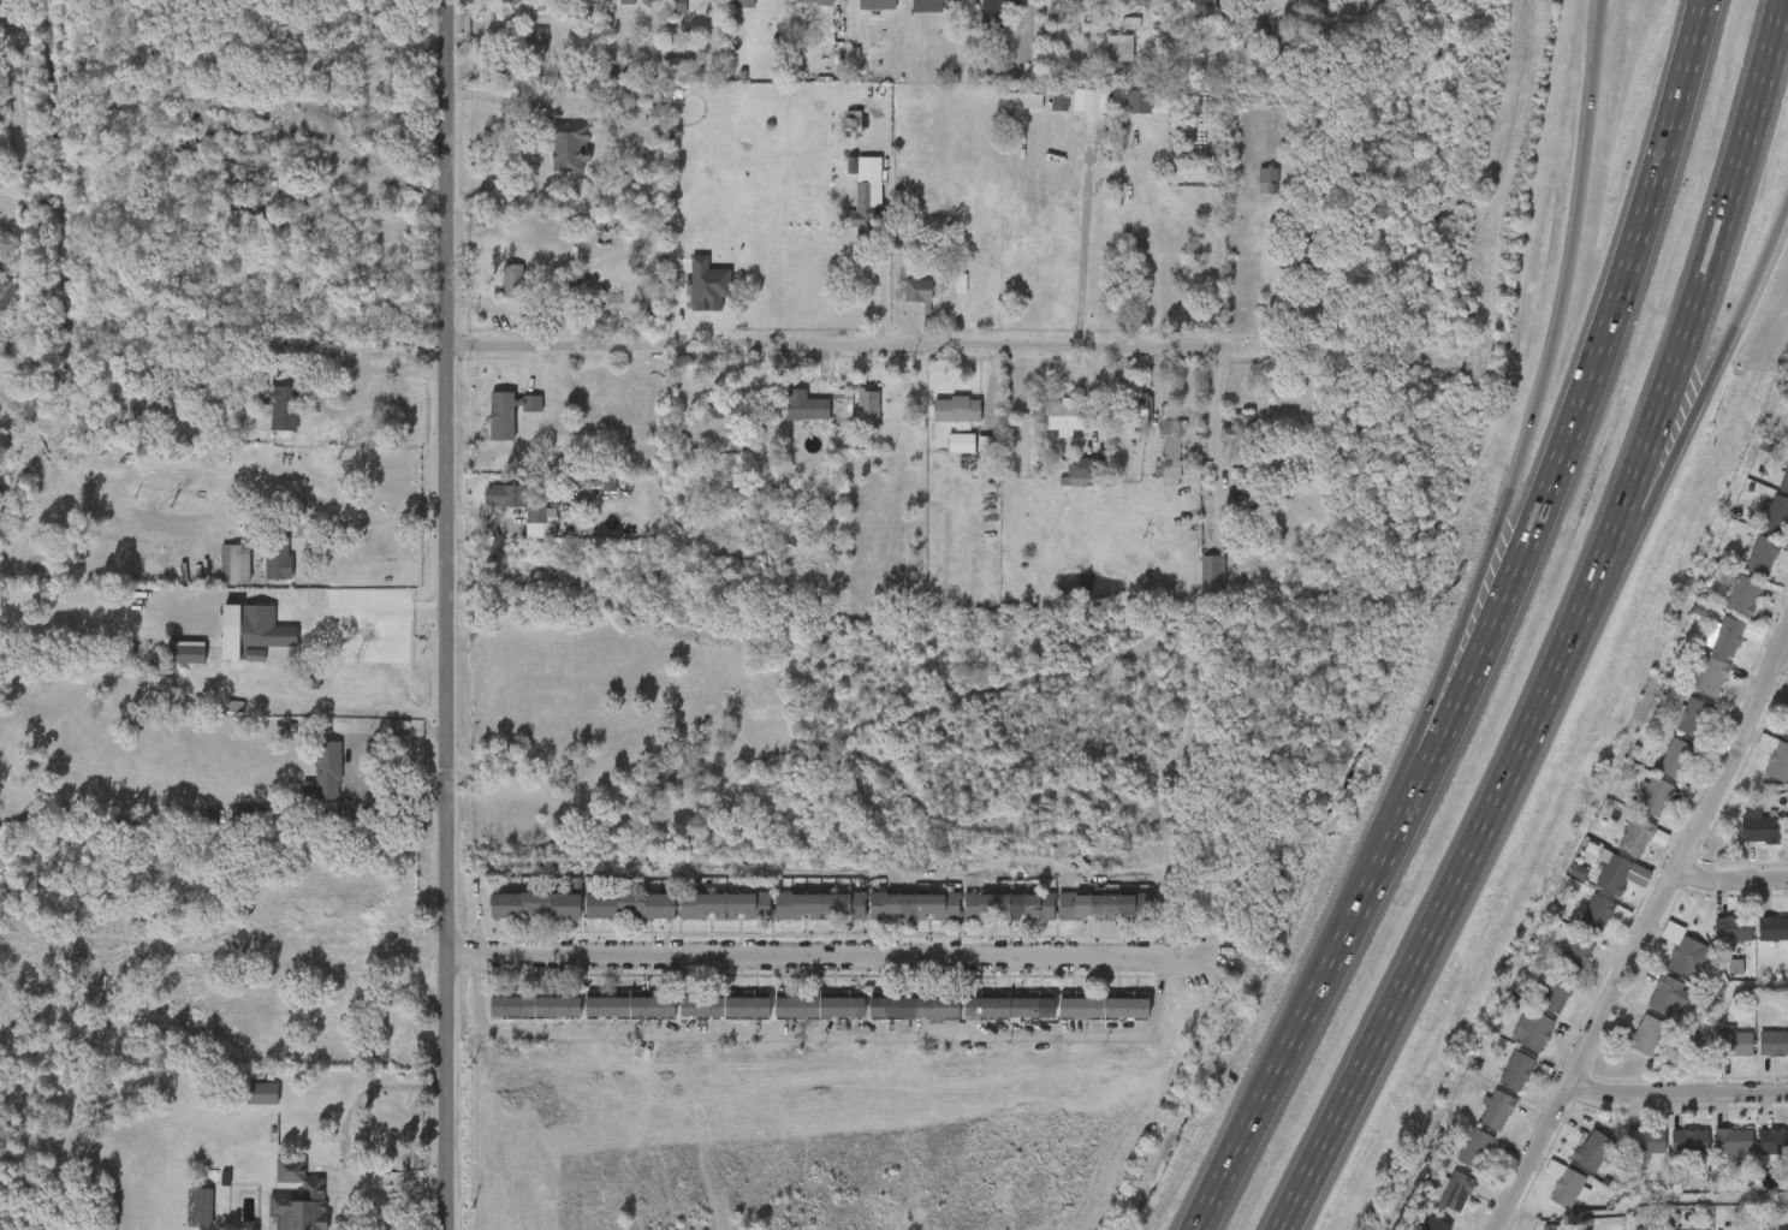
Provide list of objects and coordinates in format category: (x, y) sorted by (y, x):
building: (513, 0)
building: (808, 0)
building: (1067, 0)
building: (742, 2)
building: (1133, 2)
building: (677, 4)
building: (875, 4)
building: (928, 5)
building: (1171, 7)
building: (612, 8)
building: (1273, 8)
building: (1117, 10)
building: (992, 12)
building: (1055, 14)
building: (1118, 46)
building: (519, 52)
building: (504, 54)
building: (1103, 63)
building: (1148, 70)
building: (832, 115)
building: (1073, 115)
building: (1121, 117)
building: (570, 144)
building: (553, 162)
building: (1267, 179)
building: (1249, 196)
road: (883, 221)
building: (848, 226)
road: (1082, 246)
road: (1710, 252)
building: (1312, 255)
building: (512, 280)
road: (1275, 281)
building: (917, 290)
building: (494, 296)
building: (901, 308)
road: (1741, 308)
road: (1554, 331)
road: (881, 345)
road: (370, 369)
building: (278, 404)
building: (800, 405)
building: (1136, 406)
building: (868, 409)
building: (954, 409)
road: (1561, 415)
building: (1065, 416)
building: (721, 418)
building: (261, 420)
building: (786, 421)
building: (1125, 422)
building: (851, 424)
building: (940, 426)
building: (491, 428)
building: (1049, 432)
building: (703, 435)
building: (1238, 435)
building: (961, 442)
building: (1170, 452)
building: (1219, 452)
building: (1783, 452)
road: (1658, 457)
building: (944, 458)
building: (1152, 468)
road: (177, 469)
building: (1081, 471)
building: (1784, 481)
building: (1062, 482)
building: (505, 495)
building: (1062, 497)
building: (486, 511)
building: (1776, 516)
building: (1760, 530)
building: (522, 537)
building: (1762, 557)
building: (278, 558)
building: (234, 563)
building: (1744, 571)
building: (1211, 574)
building: (260, 577)
building: (218, 578)
building: (1192, 588)
building: (1742, 598)
building: (1724, 610)
road: (406, 611)
road: (410, 611)
road: (430, 611)
road: (446, 614)
building: (263, 628)
building: (230, 631)
building: (1727, 637)
building: (1710, 652)
road: (1782, 655)
building: (311, 678)
building: (1711, 678)
building: (350, 690)
building: (1693, 693)
building: (333, 708)
building: (1693, 718)
building: (1786, 730)
road: (1422, 732)
building: (1675, 732)
building: (1675, 759)
building: (1778, 762)
road: (352, 767)
building: (1657, 772)
building: (1763, 776)
building: (308, 788)
building: (1653, 797)
building: (1636, 812)
building: (1759, 827)
building: (1634, 837)
building: (1783, 840)
building: (1741, 843)
building: (1617, 851)
road: (1461, 869)
building: (1614, 875)
road: (1731, 880)
building: (1596, 890)
building: (533, 905)
building: (629, 905)
building: (725, 905)
building: (818, 905)
building: (914, 907)
building: (1009, 907)
building: (1103, 907)
building: (1596, 916)
building: (518, 920)
building: (612, 920)
building: (709, 920)
building: (802, 920)
building: (898, 920)
building: (991, 921)
building: (1086, 921)
building: (1579, 927)
building: (1733, 929)
building: (1772, 929)
road: (1645, 931)
building: (1758, 943)
building: (1786, 943)
building: (1715, 944)
road: (822, 951)
building: (1575, 955)
building: (1556, 970)
building: (1669, 971)
building: (1556, 993)
building: (1668, 996)
building: (533, 1006)
building: (628, 1008)
building: (723, 1008)
building: (819, 1008)
building: (917, 1008)
building: (1008, 1008)
building: (1101, 1008)
building: (1537, 1010)
building: (1651, 1010)
building: (611, 1020)
building: (803, 1020)
building: (1086, 1020)
building: (517, 1021)
building: (709, 1021)
building: (895, 1021)
building: (993, 1021)
road: (1295, 1023)
building: (1531, 1030)
road: (824, 1035)
building: (1645, 1035)
building: (1734, 1044)
building: (1774, 1044)
building: (1514, 1045)
building: (1630, 1051)
building: (1716, 1058)
building: (1759, 1058)
building: (1786, 1065)
building: (1515, 1071)
building: (1498, 1086)
road: (1677, 1093)
building: (245, 1107)
building: (1496, 1110)
building: (1479, 1125)
building: (1645, 1141)
building: (1774, 1141)
building: (1688, 1142)
building: (1733, 1142)
building: (1473, 1148)
building: (1592, 1151)
building: (1786, 1154)
building: (1627, 1155)
building: (1671, 1155)
building: (1757, 1155)
building: (1716, 1158)
building: (1456, 1163)
building: (1574, 1164)
road: (391, 1180)
building: (1567, 1188)
building: (1454, 1190)
building: (296, 1202)
building: (1437, 1206)
building: (182, 1216)
building: (1436, 1224)
building: (1551, 1228)
building: (1646, 1229)

